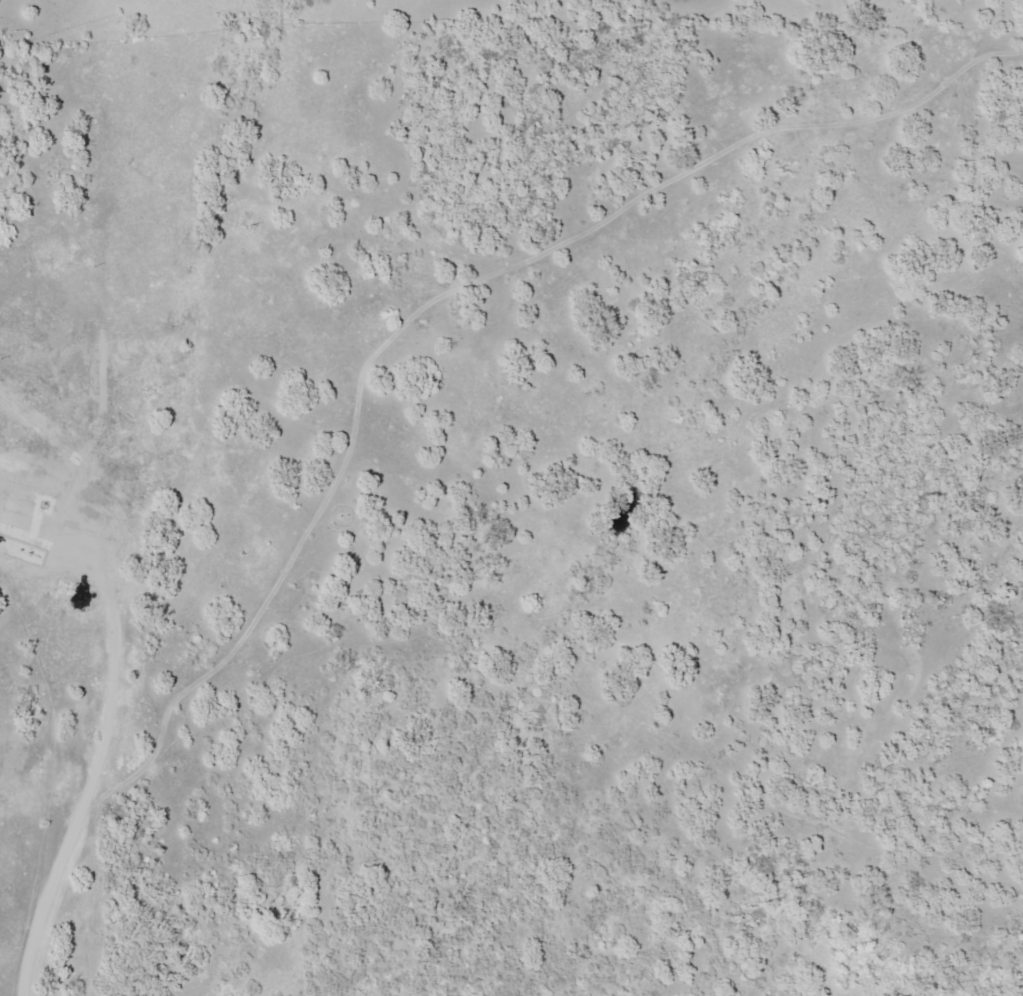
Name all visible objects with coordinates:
road: (892, 760)

